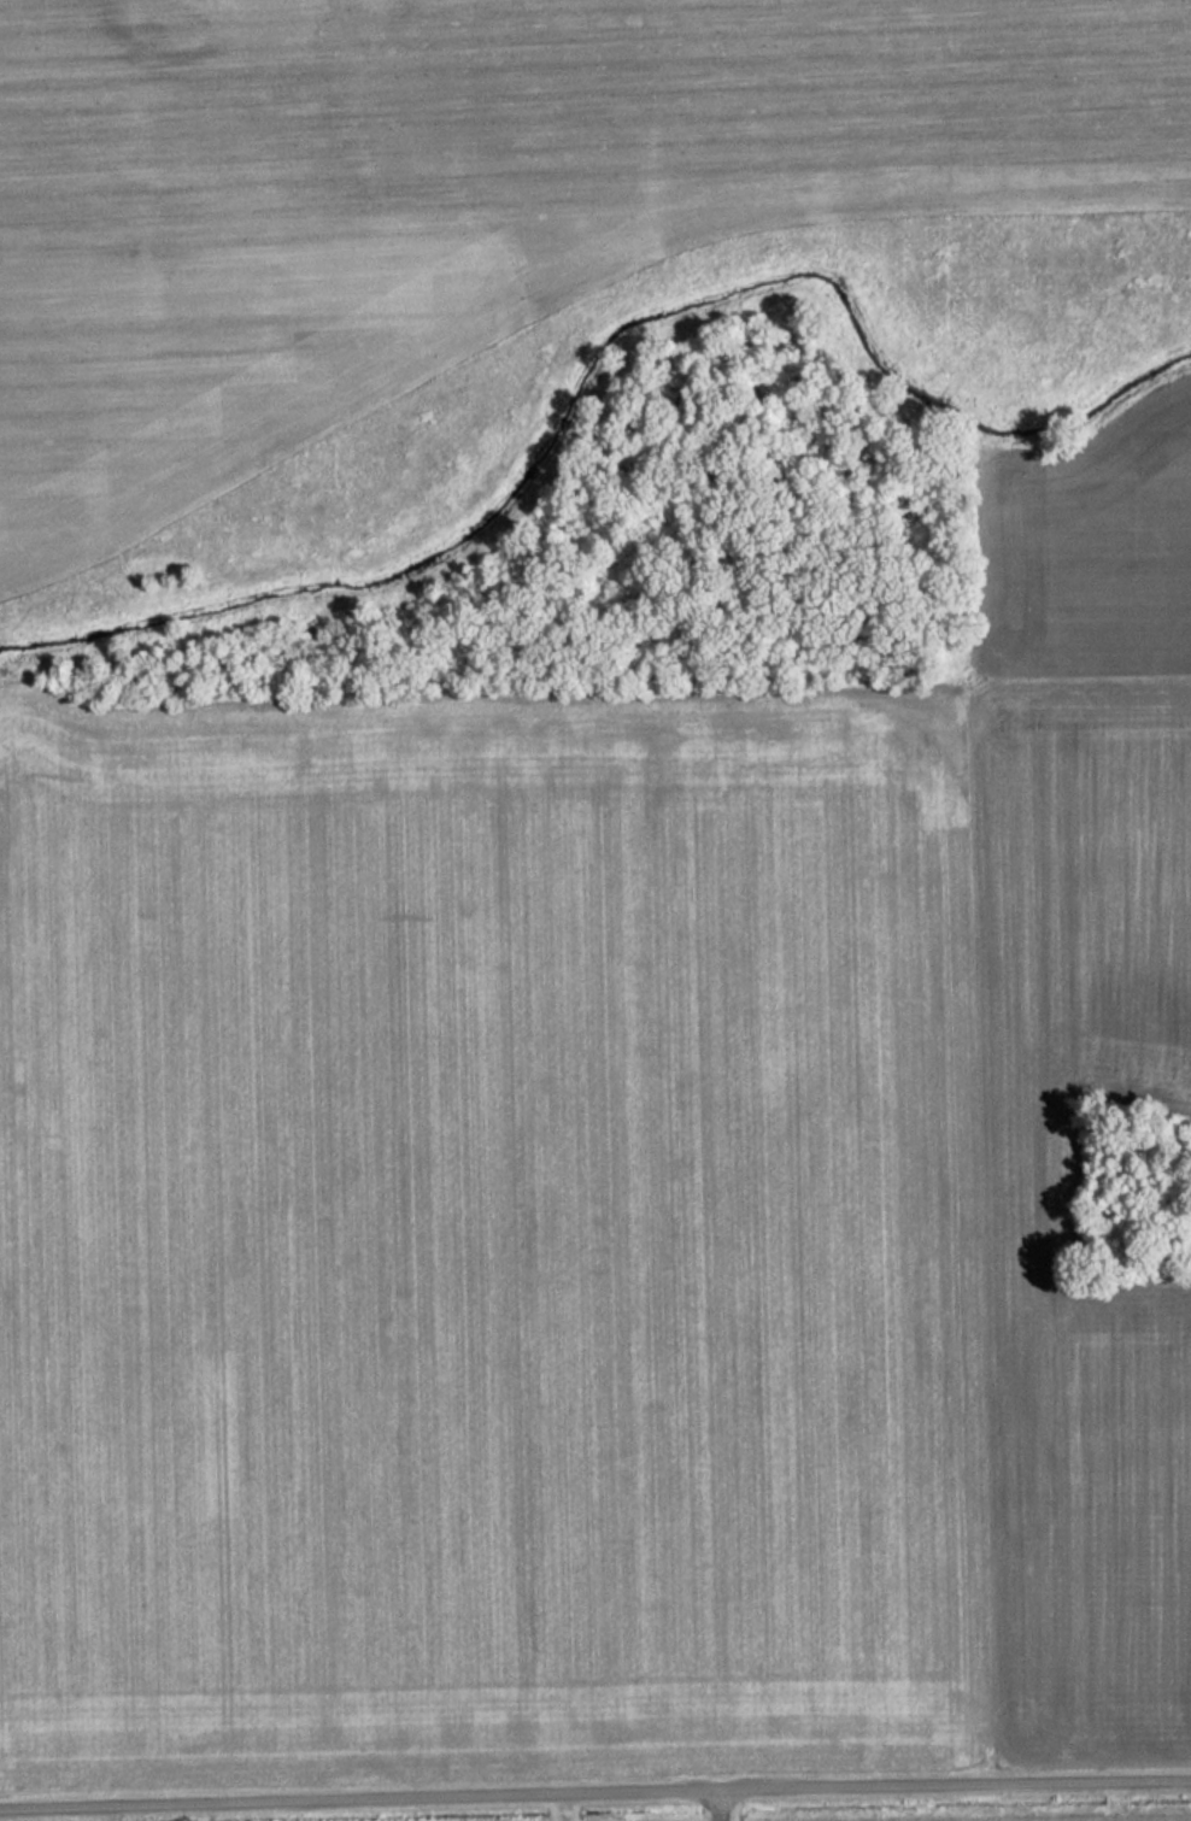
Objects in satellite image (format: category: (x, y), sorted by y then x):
crop: (470, 195)
crop: (1080, 554)
crop: (1079, 874)
crop: (1021, 1175)
crop: (482, 1246)
crop: (1086, 1520)
road: (594, 1791)
road: (717, 1804)
road: (565, 1807)

